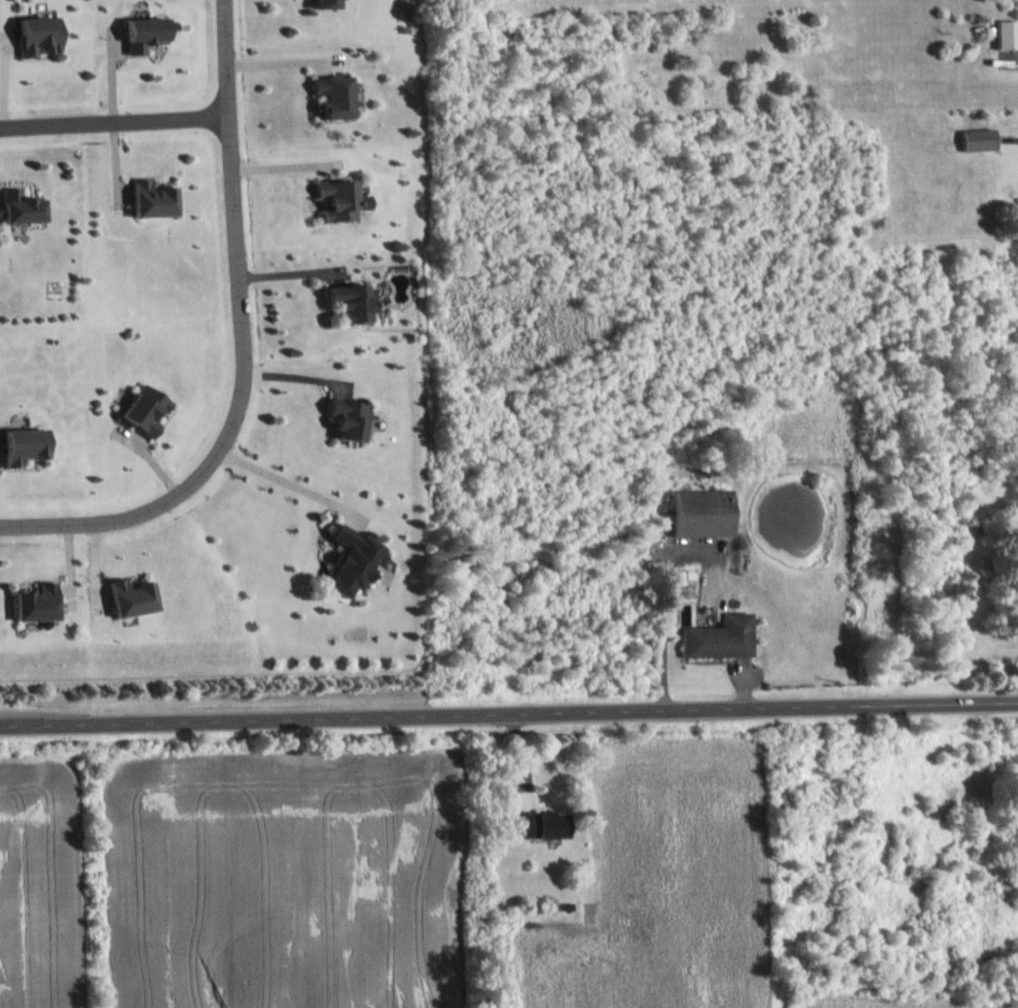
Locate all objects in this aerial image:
building: (324, 3)
building: (142, 32)
building: (1007, 33)
building: (37, 34)
road: (281, 59)
road: (1014, 62)
building: (332, 95)
road: (112, 121)
building: (979, 139)
road: (283, 166)
building: (152, 198)
building: (339, 199)
building: (20, 206)
building: (351, 300)
road: (245, 350)
road: (299, 374)
building: (144, 409)
building: (348, 417)
building: (23, 444)
road: (290, 484)
building: (699, 512)
building: (349, 560)
building: (131, 596)
building: (36, 602)
building: (717, 636)
road: (508, 715)
building: (539, 824)

